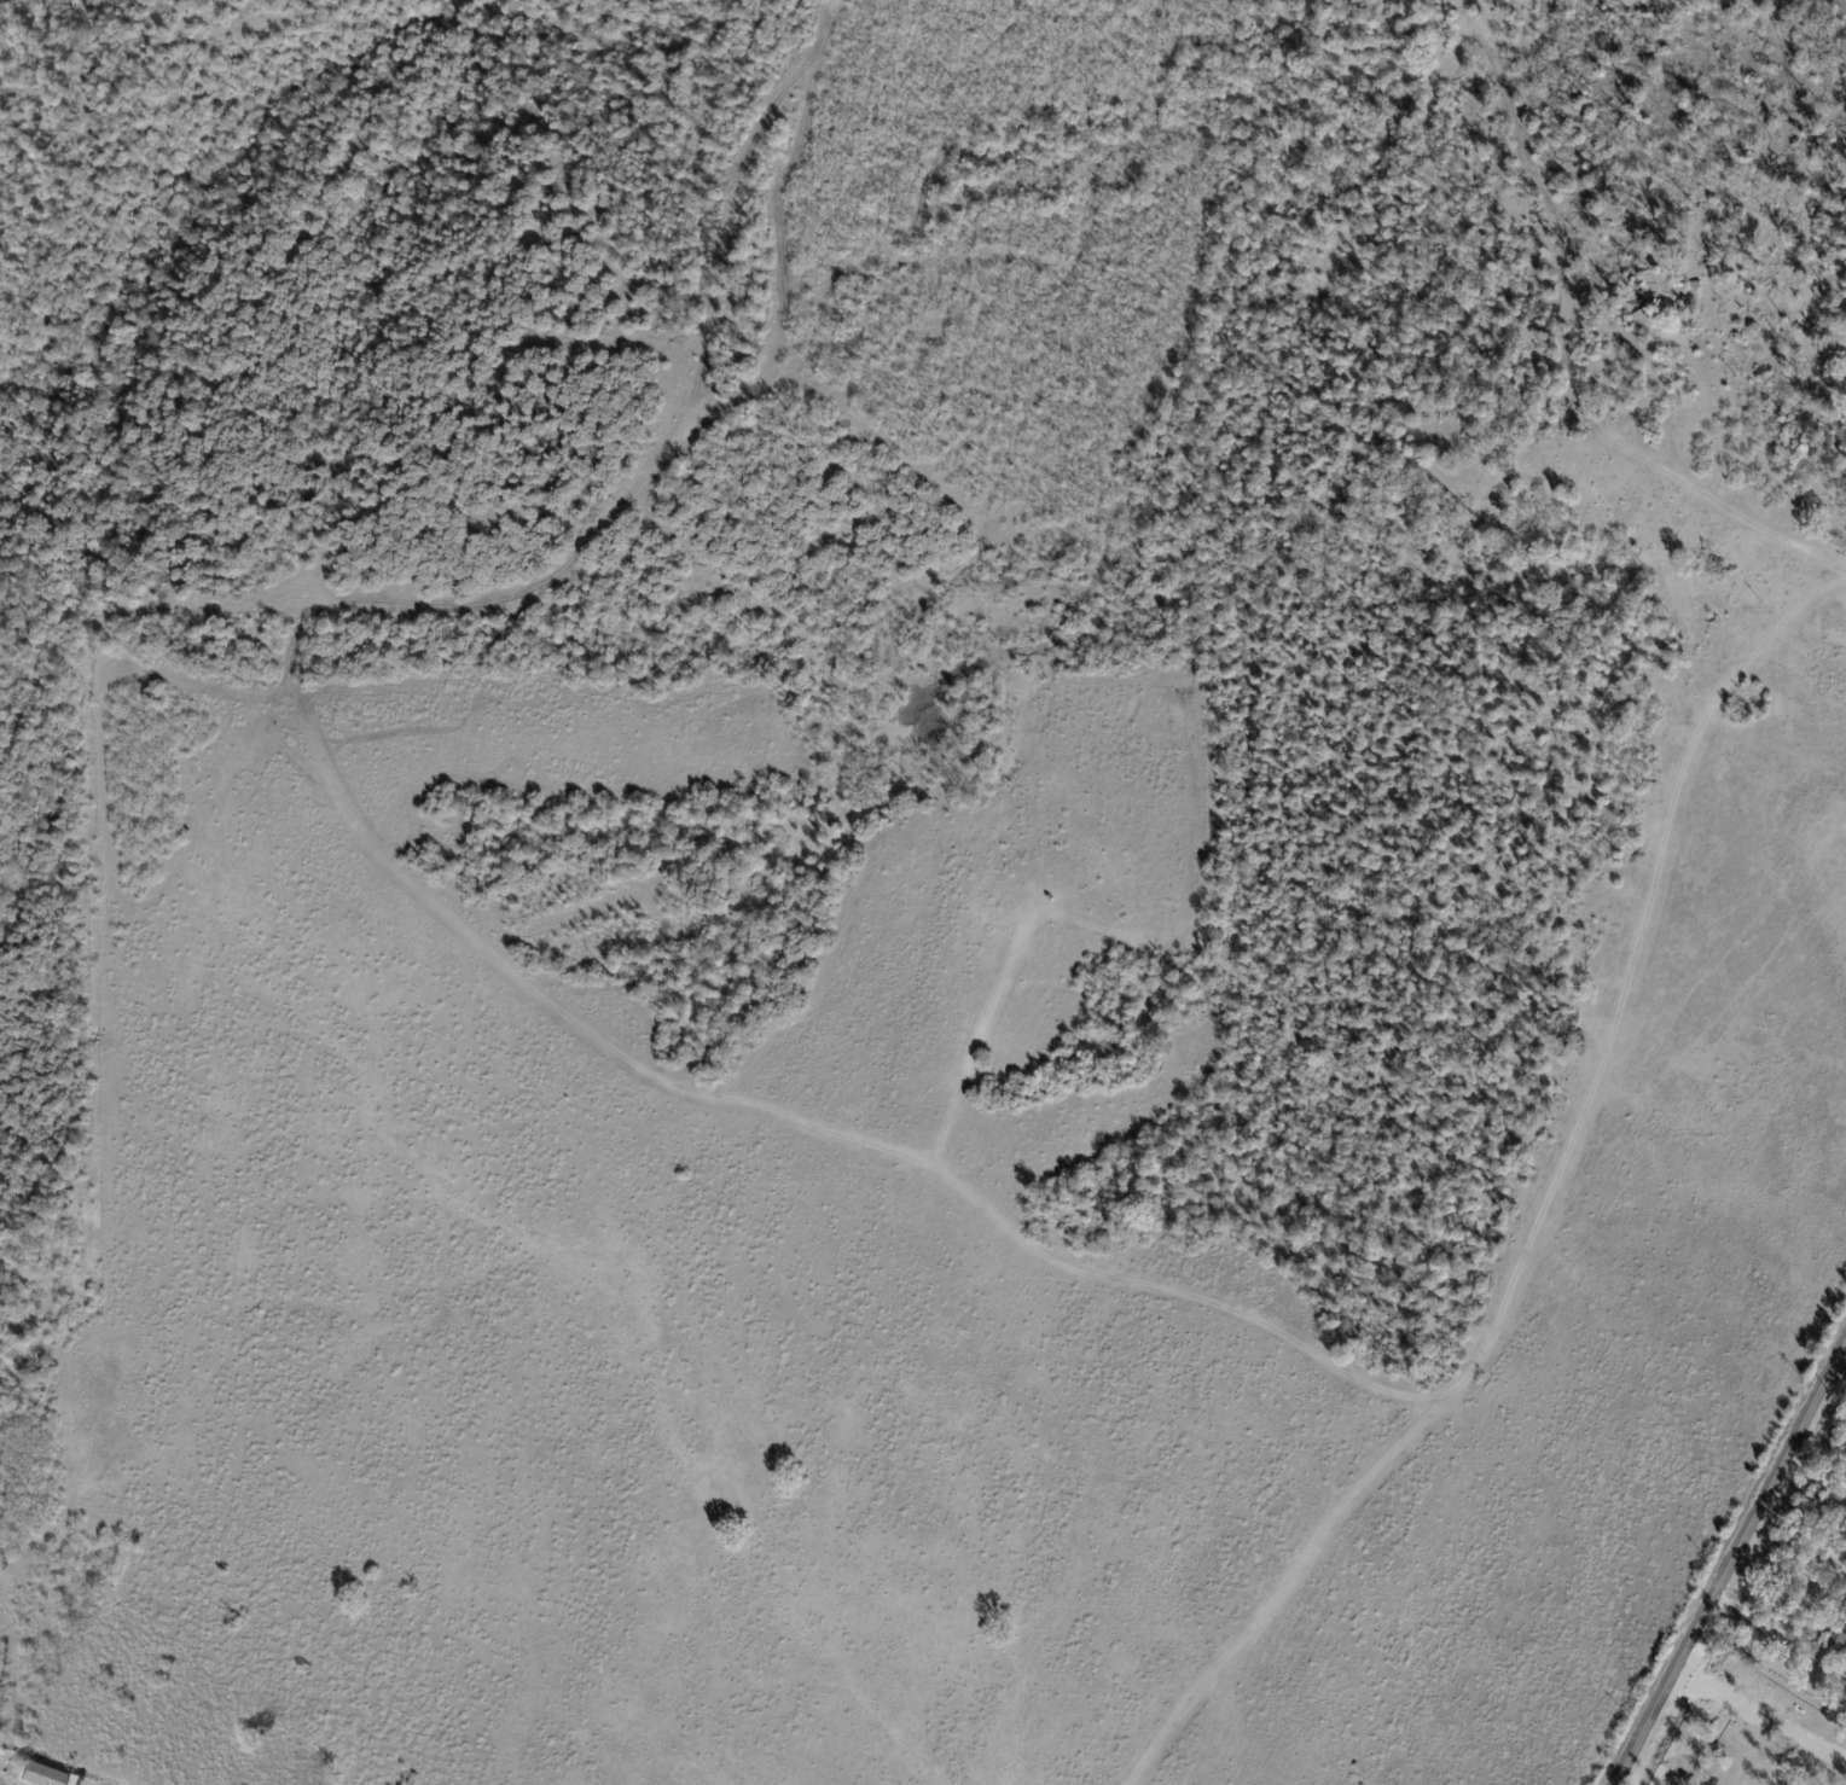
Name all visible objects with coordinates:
park: (144, 261)
building: (1672, 292)
road: (1622, 450)
road: (1729, 1562)
road: (1761, 1621)
building: (1839, 1636)
building: (40, 1775)
building: (72, 1779)
road: (2, 1784)

